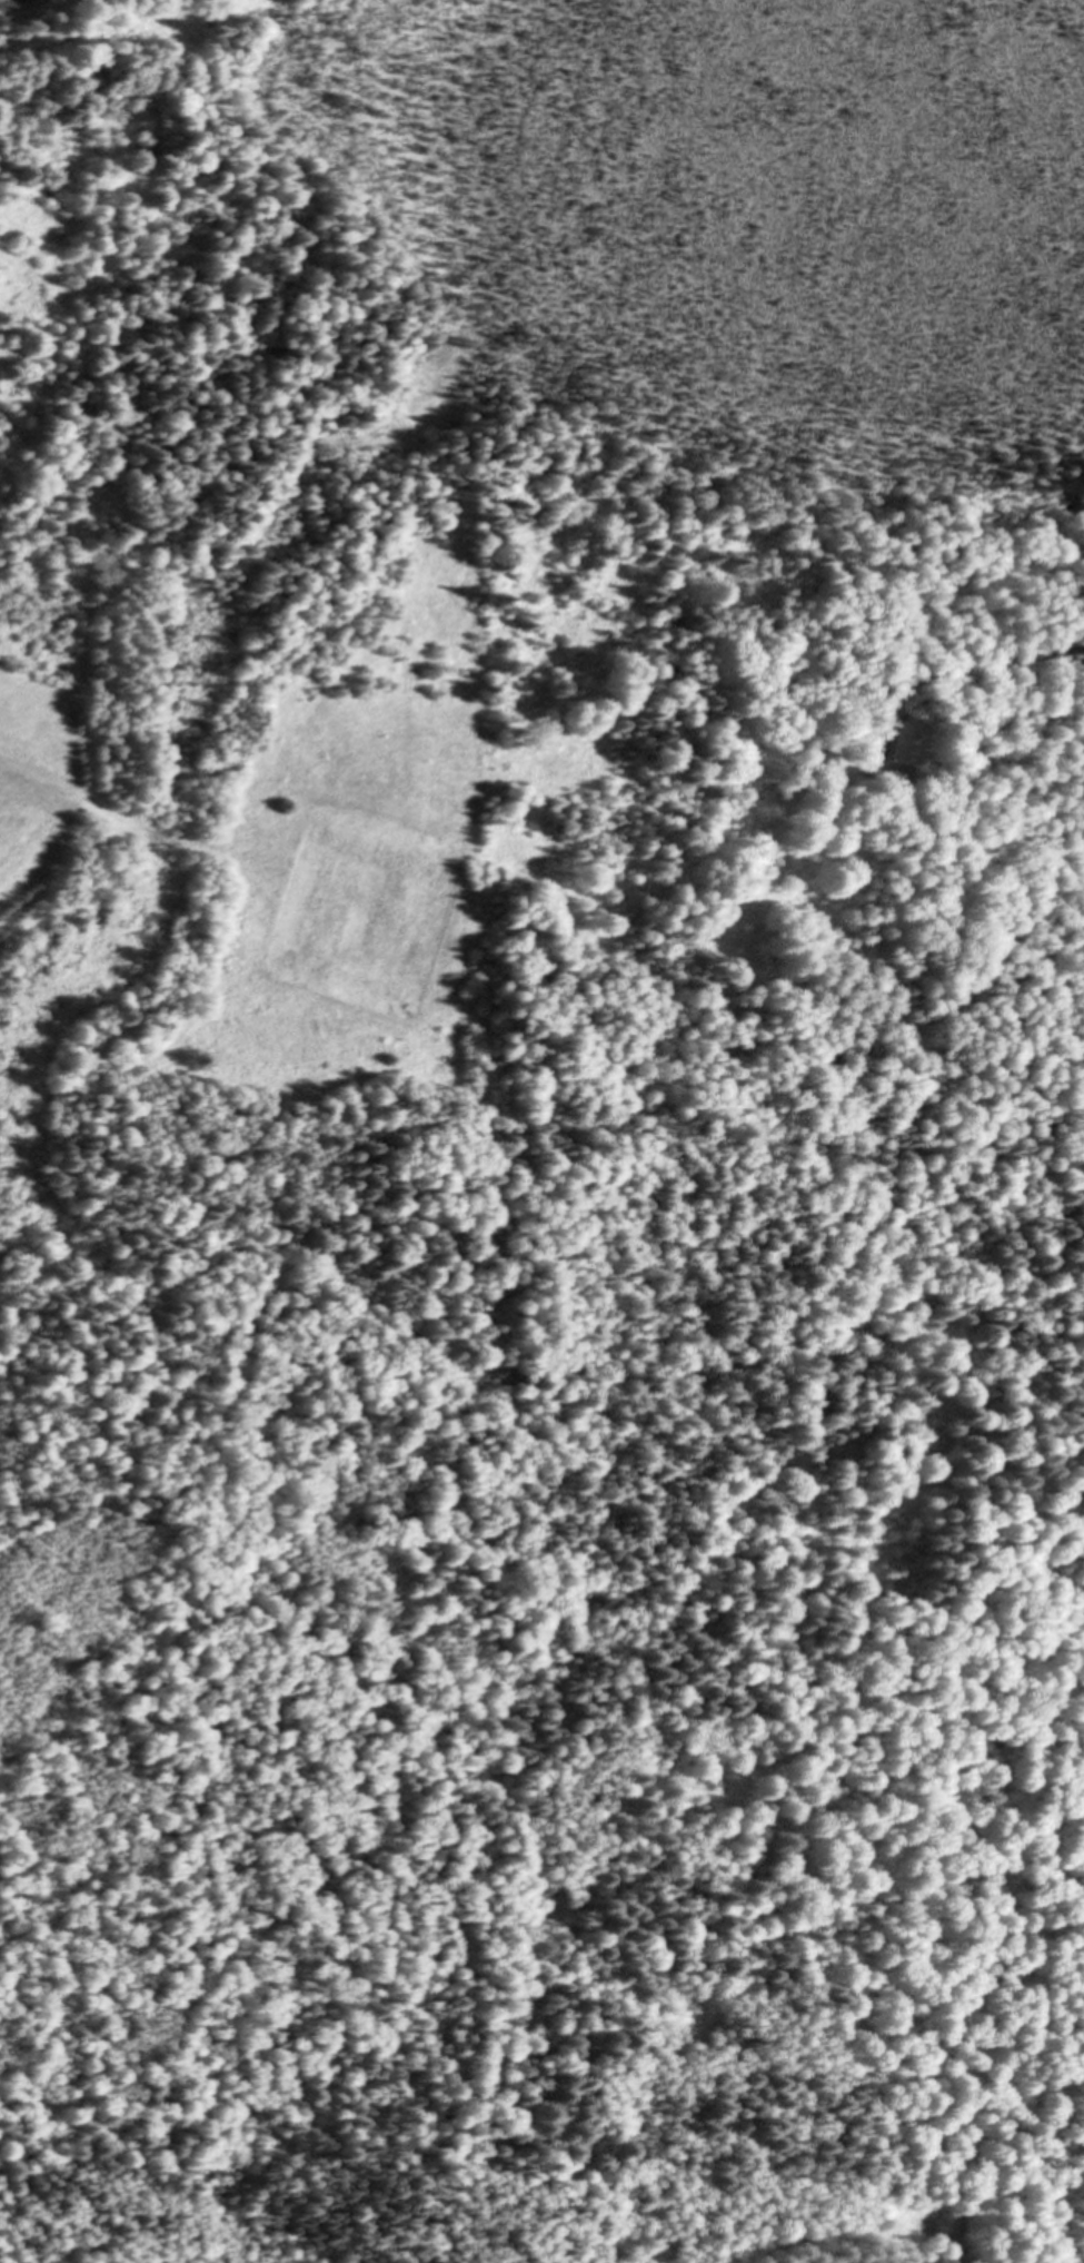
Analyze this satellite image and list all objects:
road: (2, 0)
road: (1003, 661)
building: (917, 743)

